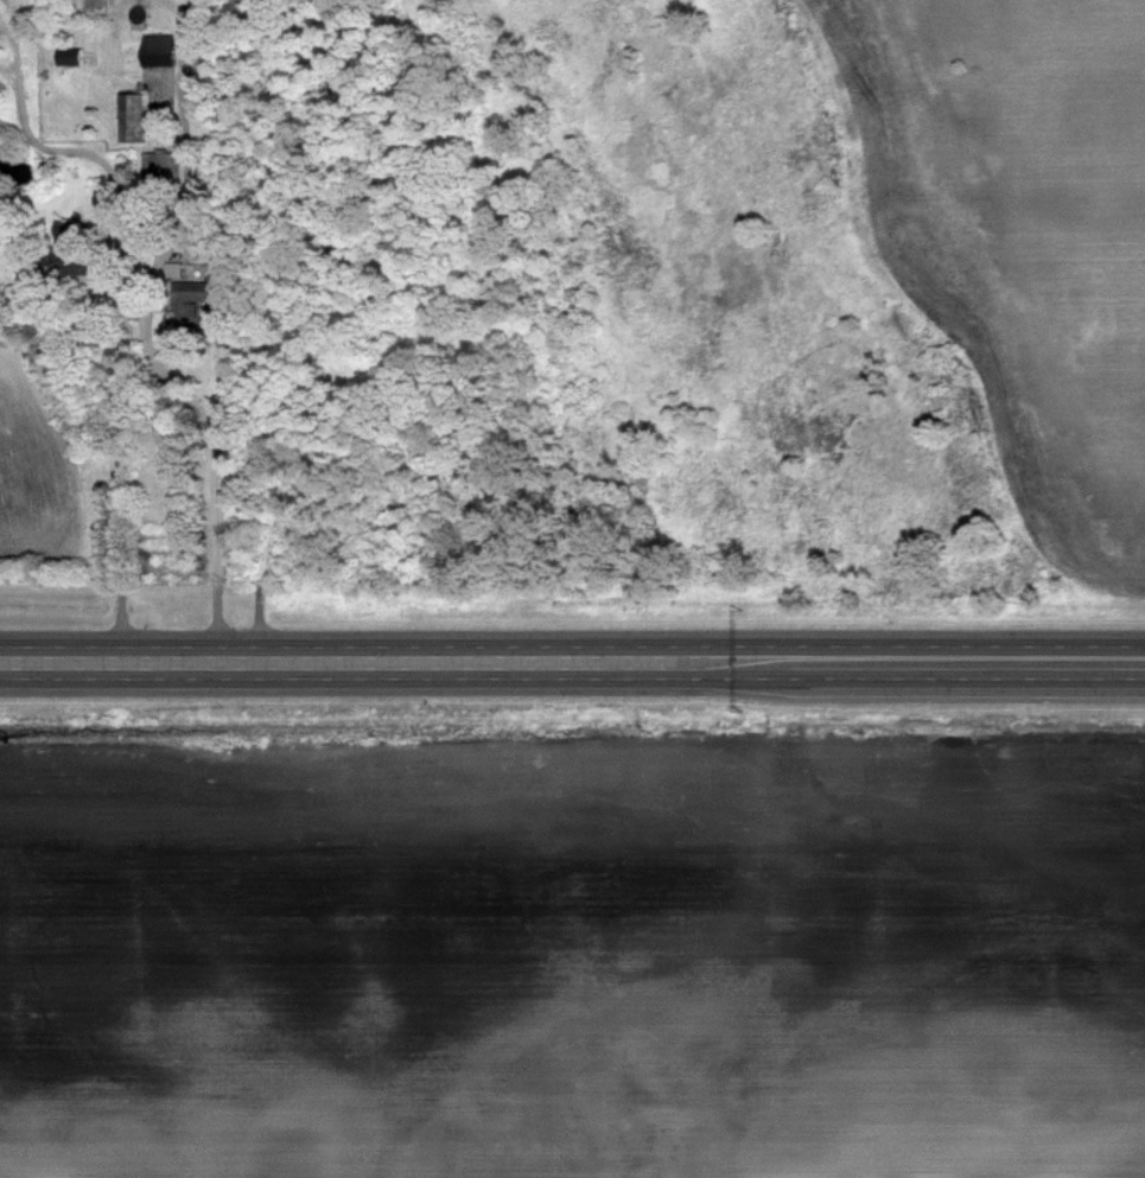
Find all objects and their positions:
building: (157, 50)
building: (66, 57)
building: (132, 117)
building: (69, 253)
building: (197, 295)
road: (234, 448)
road: (572, 663)

